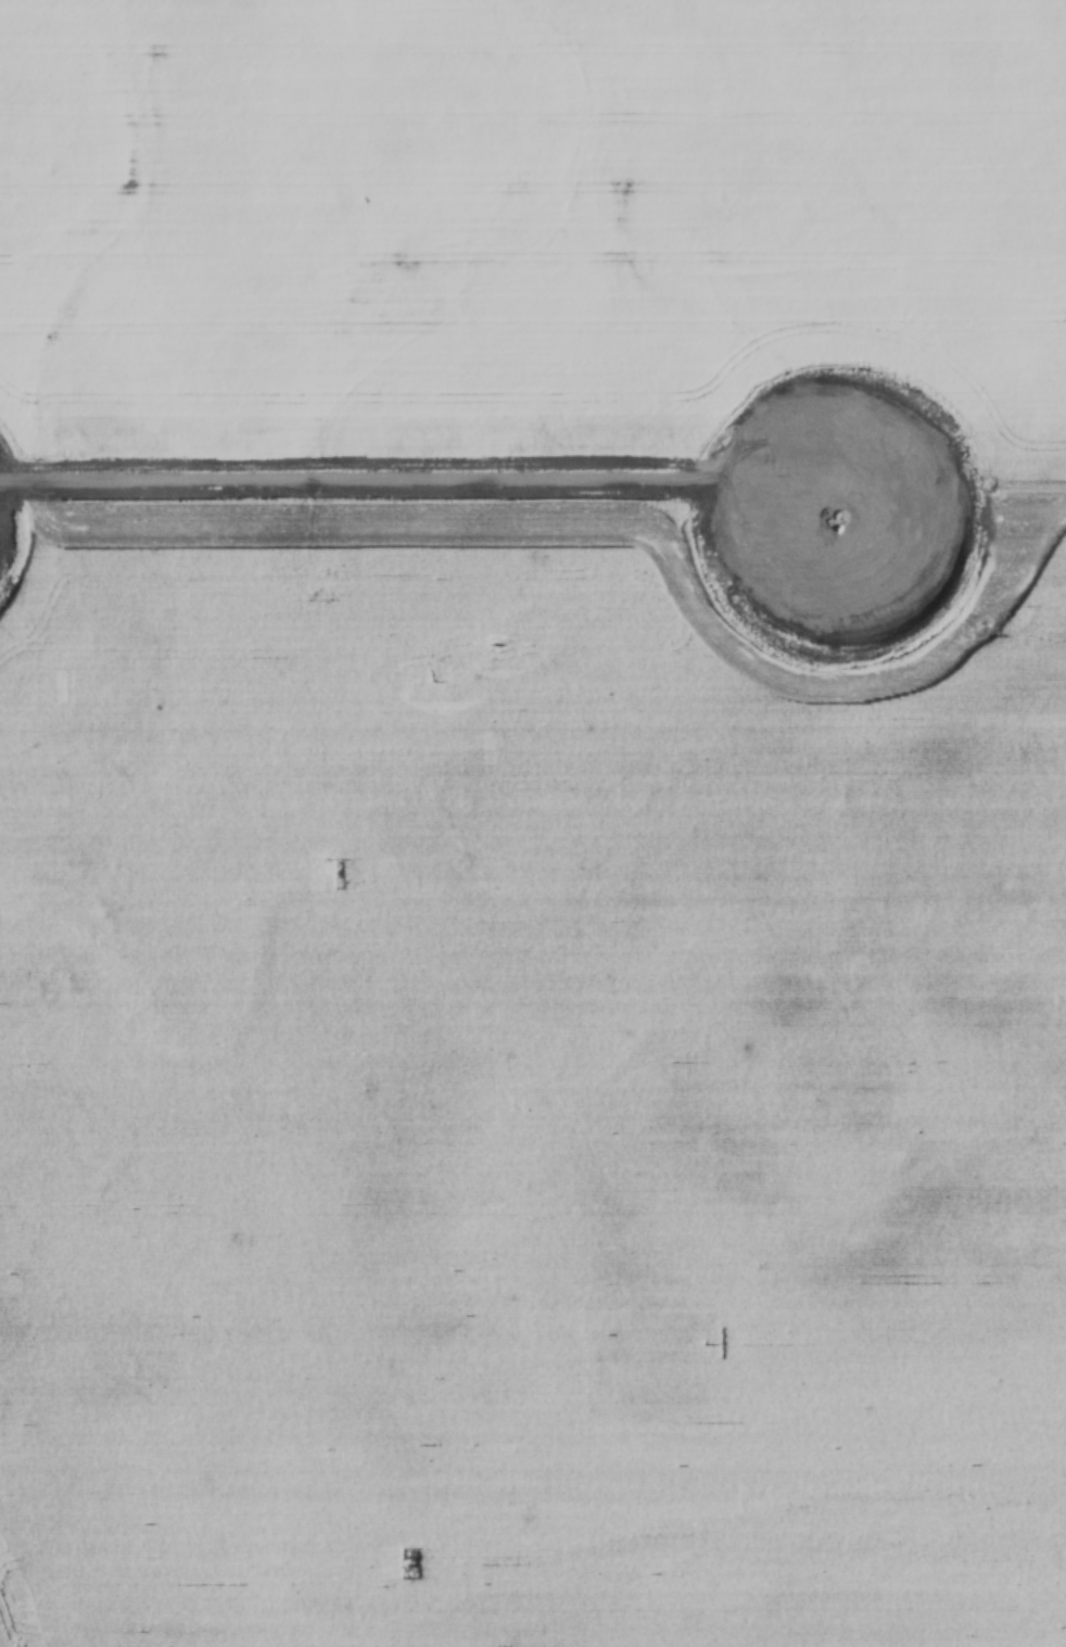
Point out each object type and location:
wind turbine: (833, 524)

